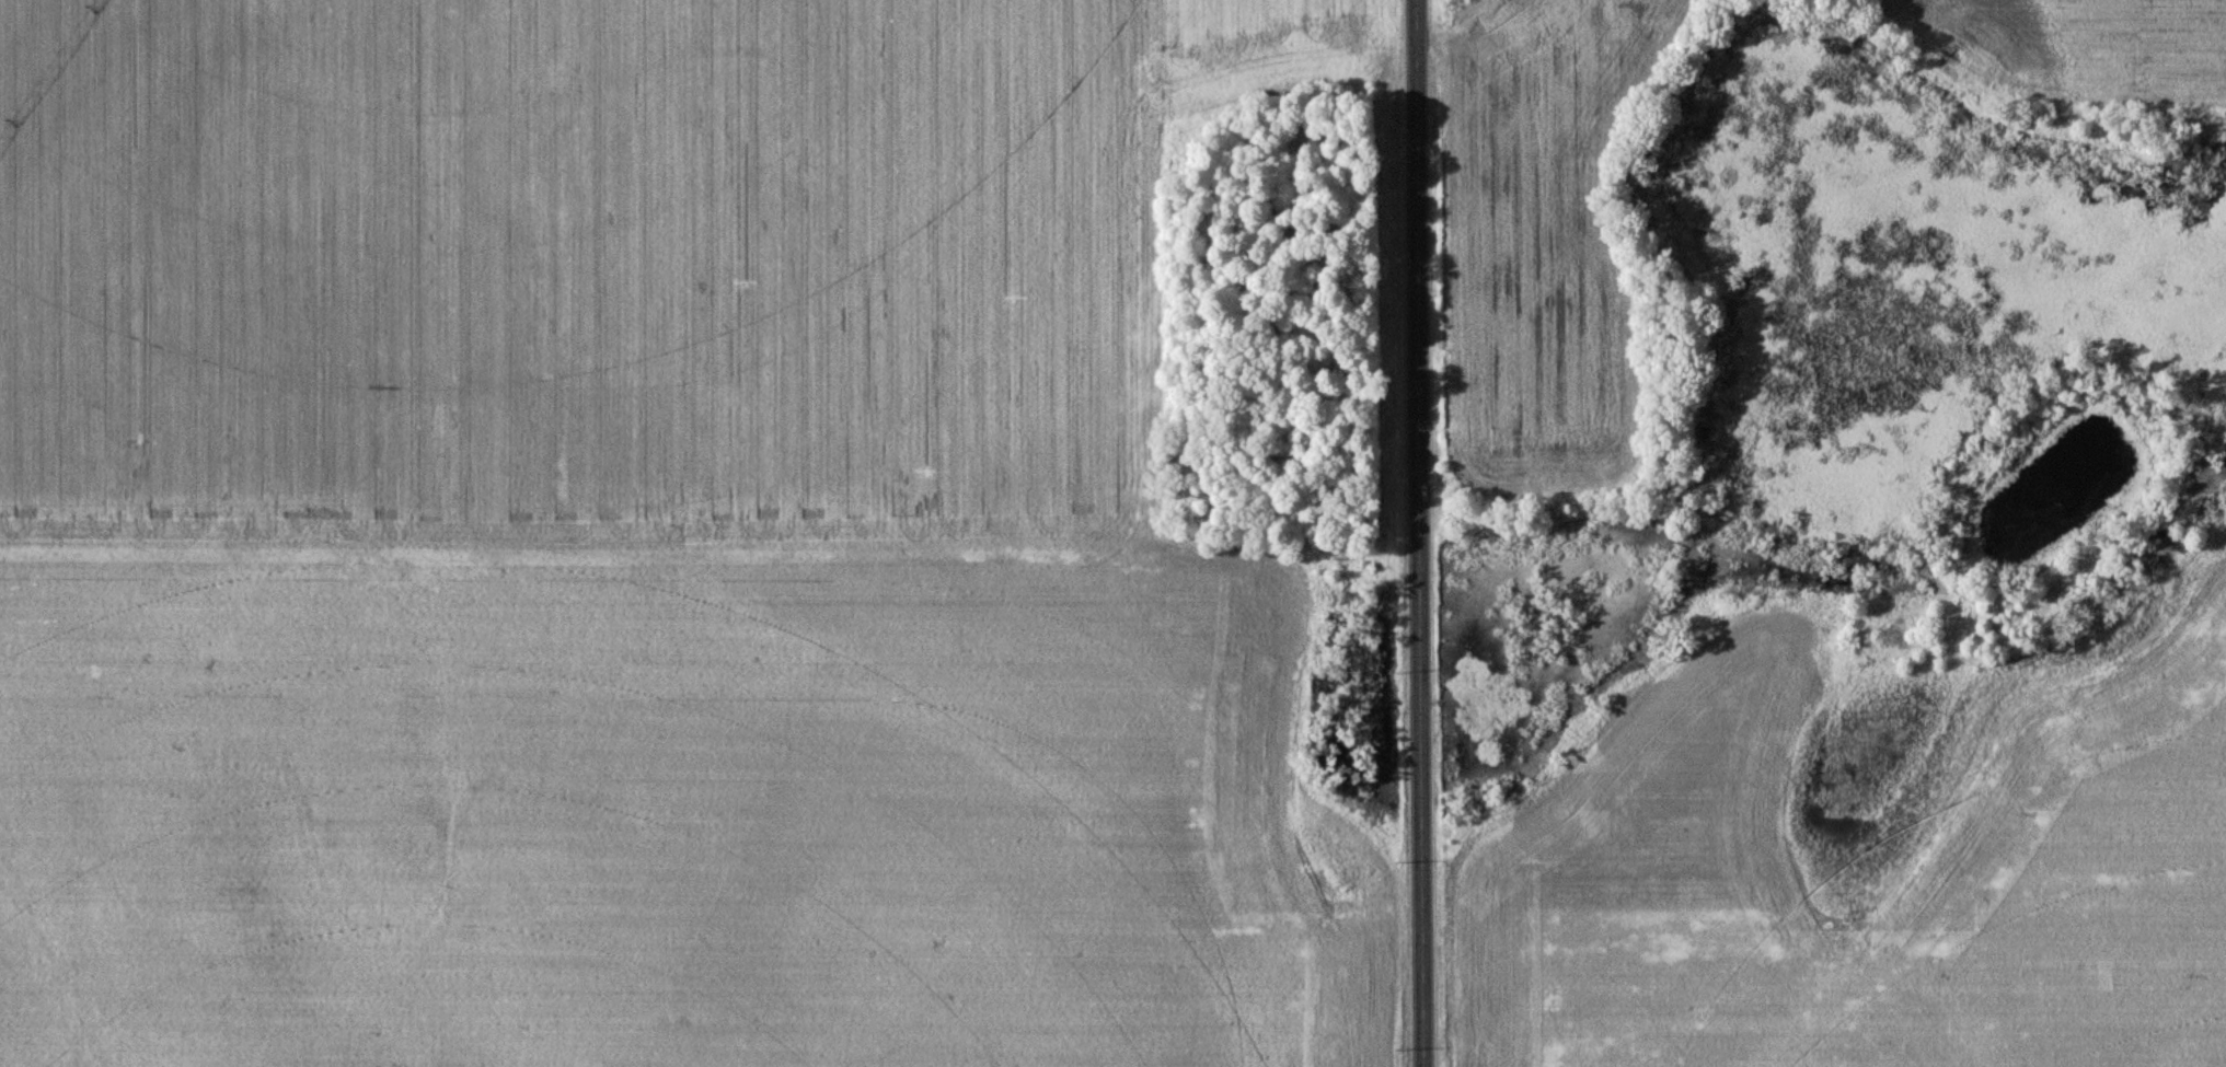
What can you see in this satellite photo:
road: (1425, 533)

